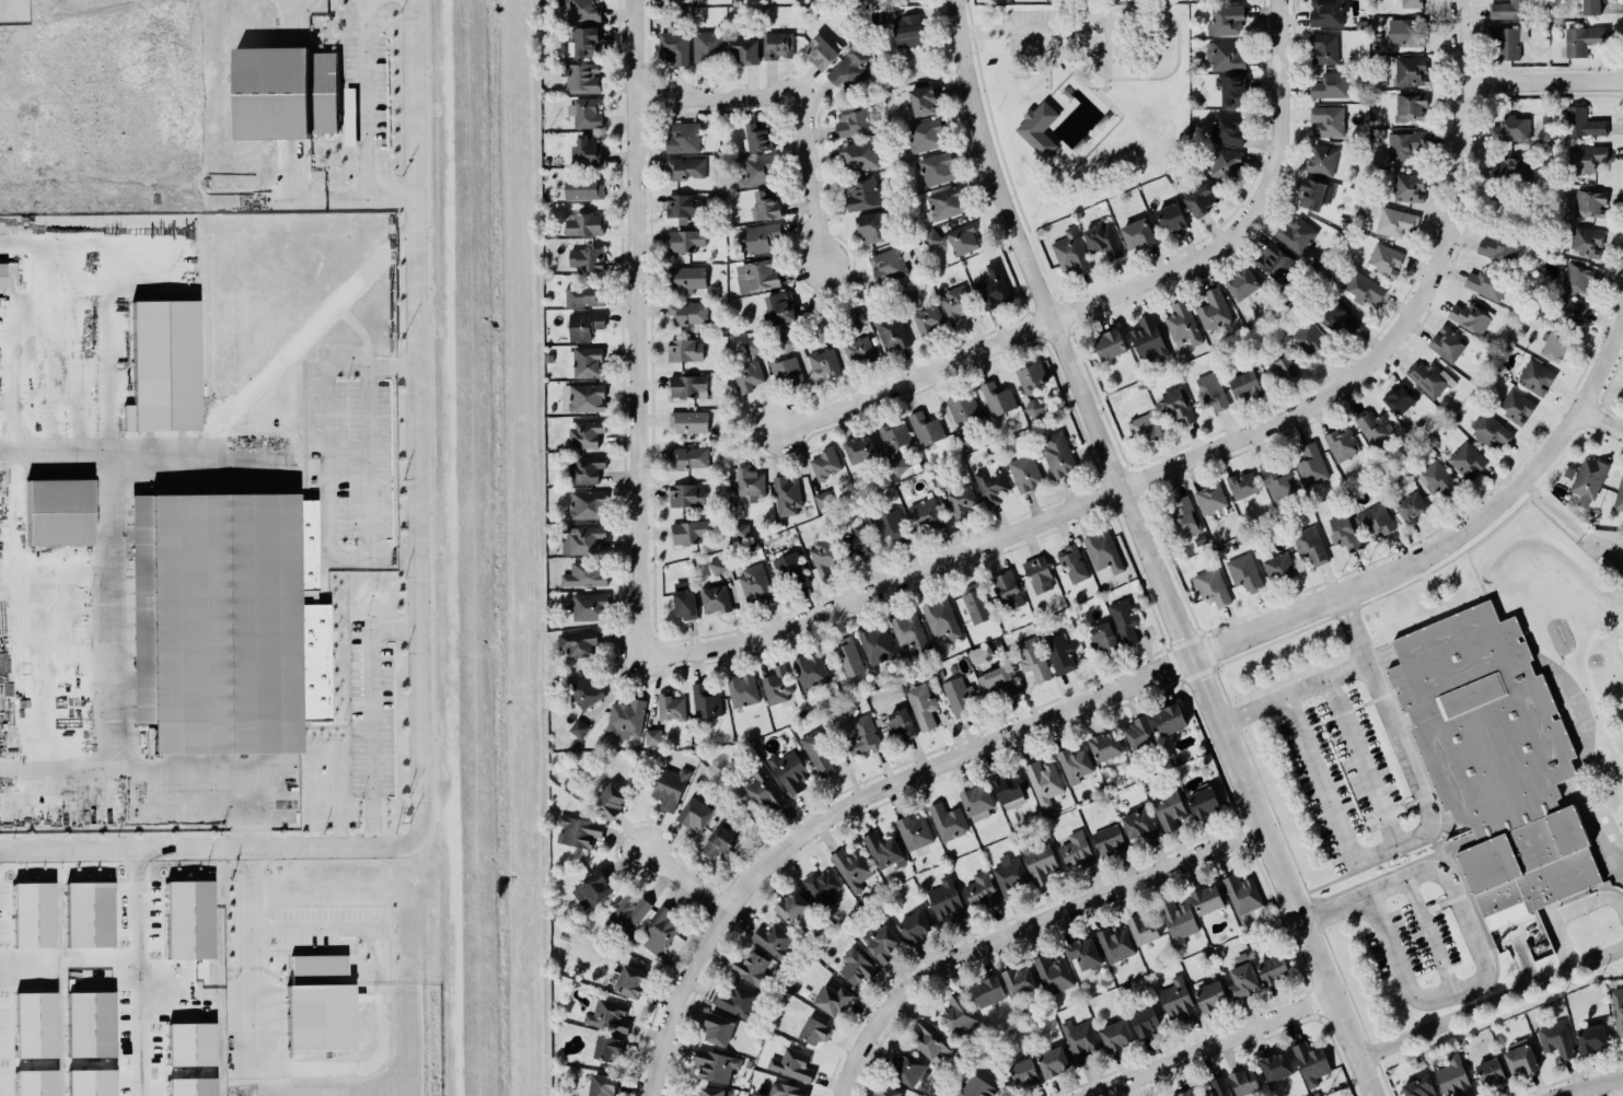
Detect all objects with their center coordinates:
building: (662, 0)
building: (1412, 3)
building: (1592, 7)
building: (582, 10)
building: (1511, 10)
road: (969, 11)
road: (1086, 11)
building: (1326, 12)
building: (1226, 19)
parking lot: (1035, 27)
road: (1007, 28)
building: (907, 30)
road: (973, 30)
building: (1405, 32)
road: (1070, 34)
building: (1583, 40)
building: (1507, 42)
building: (584, 43)
road: (1110, 43)
road: (1176, 43)
building: (673, 46)
building: (777, 46)
building: (707, 47)
building: (1323, 47)
building: (743, 51)
building: (821, 51)
road: (1030, 51)
road: (1054, 51)
building: (1227, 55)
road: (1059, 56)
road: (1050, 58)
road: (1085, 59)
road: (1059, 61)
road: (1058, 62)
road: (1053, 65)
road: (1066, 67)
building: (849, 69)
building: (1411, 71)
road: (1050, 74)
road: (1108, 77)
building: (582, 78)
road: (1078, 79)
road: (1104, 81)
road: (1540, 82)
building: (1331, 84)
road: (1094, 86)
building: (1230, 86)
building: (285, 91)
road: (1036, 97)
park: (1080, 97)
building: (923, 101)
road: (801, 105)
building: (1410, 105)
building: (586, 110)
building: (1328, 120)
building: (854, 121)
building: (1583, 121)
building: (348, 125)
building: (1228, 127)
road: (357, 128)
building: (1037, 128)
building: (1511, 129)
building: (758, 136)
building: (925, 136)
building: (682, 138)
building: (1405, 144)
building: (586, 150)
building: (857, 155)
building: (1586, 158)
building: (1321, 160)
building: (1225, 162)
building: (685, 167)
road: (1006, 167)
building: (757, 170)
building: (936, 170)
building: (1511, 170)
building: (582, 187)
building: (1408, 187)
building: (861, 194)
building: (1312, 194)
road: (305, 200)
building: (1201, 200)
building: (946, 202)
building: (1590, 202)
building: (683, 206)
building: (765, 206)
building: (1171, 218)
building: (581, 222)
building: (1395, 222)
building: (870, 228)
building: (1137, 234)
building: (1297, 234)
building: (760, 236)
building: (953, 238)
building: (1102, 240)
building: (685, 241)
building: (1586, 241)
building: (1498, 247)
building: (1070, 253)
building: (586, 257)
building: (1384, 258)
building: (1275, 263)
building: (888, 264)
building: (756, 275)
building: (2, 276)
building: (686, 277)
building: (1577, 279)
building: (1243, 282)
building: (1487, 283)
building: (993, 288)
building: (1364, 289)
road: (1121, 290)
building: (584, 295)
building: (908, 296)
road: (1055, 296)
building: (955, 303)
building: (778, 310)
building: (1214, 311)
building: (1568, 311)
building: (689, 314)
building: (1469, 316)
building: (855, 318)
building: (1337, 318)
building: (927, 319)
building: (583, 324)
building: (1182, 324)
road: (644, 326)
building: (892, 331)
building: (819, 333)
building: (1148, 338)
building: (1311, 339)
building: (788, 342)
building: (1110, 345)
building: (1447, 345)
building: (1554, 346)
building: (752, 347)
building: (684, 349)
building: (859, 350)
building: (581, 362)
building: (824, 362)
building: (1283, 365)
building: (163, 368)
road: (267, 372)
building: (786, 372)
building: (747, 375)
building: (1535, 375)
building: (1031, 377)
building: (1427, 377)
building: (687, 385)
building: (1245, 386)
building: (1212, 392)
building: (583, 398)
building: (1399, 398)
building: (997, 399)
building: (1178, 405)
building: (1517, 406)
building: (963, 408)
building: (1032, 408)
road: (1603, 418)
building: (687, 420)
building: (1144, 427)
building: (1372, 427)
building: (925, 428)
building: (1489, 430)
building: (583, 433)
building: (893, 434)
building: (1341, 443)
building: (859, 448)
building: (1057, 454)
road: (1197, 454)
building: (688, 457)
building: (1464, 458)
road: (368, 459)
building: (825, 463)
building: (1311, 464)
building: (896, 465)
building: (584, 468)
building: (1024, 468)
building: (1275, 478)
building: (1437, 479)
building: (1588, 480)
building: (751, 483)
building: (1241, 483)
building: (990, 485)
building: (685, 494)
building: (786, 495)
building: (1619, 497)
building: (822, 498)
building: (1209, 499)
building: (961, 501)
building: (587, 504)
building: (1411, 505)
building: (58, 513)
building: (926, 513)
building: (1184, 516)
building: (1375, 520)
road: (1565, 520)
building: (892, 527)
building: (687, 532)
building: (740, 532)
building: (1344, 533)
building: (581, 539)
building: (859, 540)
building: (1310, 546)
building: (1102, 551)
road: (1152, 552)
building: (823, 555)
road: (109, 558)
building: (1073, 564)
building: (717, 566)
building: (1278, 567)
building: (791, 571)
building: (1244, 572)
building: (1037, 574)
building: (584, 575)
building: (754, 580)
building: (1212, 587)
building: (1008, 590)
building: (714, 599)
building: (685, 603)
building: (975, 603)
building: (587, 606)
building: (228, 614)
building: (940, 617)
building: (1123, 622)
road: (417, 628)
building: (909, 636)
building: (1100, 640)
building: (577, 642)
building: (876, 644)
road: (1205, 653)
building: (847, 655)
building: (1059, 655)
building: (1032, 662)
building: (810, 669)
road: (1323, 680)
building: (1000, 683)
building: (777, 684)
building: (742, 690)
building: (586, 691)
building: (958, 696)
building: (705, 700)
building: (921, 704)
building: (671, 706)
road: (1289, 706)
road: (1253, 709)
road: (370, 715)
building: (625, 718)
building: (1169, 719)
building: (901, 724)
building: (578, 728)
building: (1140, 732)
building: (652, 736)
building: (863, 736)
building: (1105, 745)
building: (816, 754)
road: (1360, 760)
building: (1496, 760)
building: (1074, 763)
road: (162, 767)
building: (788, 771)
building: (1044, 783)
building: (669, 785)
building: (764, 792)
building: (1009, 792)
building: (608, 801)
building: (976, 802)
building: (1204, 802)
building: (1167, 804)
building: (695, 813)
road: (1427, 819)
building: (947, 820)
building: (1139, 823)
building: (578, 831)
building: (914, 832)
building: (1109, 841)
building: (718, 844)
building: (882, 850)
building: (1077, 850)
building: (1039, 860)
building: (851, 866)
road: (677, 874)
building: (1009, 875)
building: (822, 887)
building: (592, 889)
building: (982, 890)
building: (1242, 893)
building: (947, 897)
building: (1207, 899)
building: (792, 907)
road: (1567, 910)
building: (628, 912)
building: (88, 914)
building: (33, 916)
building: (189, 919)
building: (1178, 922)
building: (915, 928)
road: (1025, 928)
building: (1143, 929)
building: (660, 930)
building: (774, 940)
building: (881, 943)
building: (1114, 943)
road: (1472, 943)
building: (1083, 954)
road: (695, 956)
road: (1597, 956)
road: (1520, 960)
building: (857, 967)
building: (751, 968)
building: (1271, 970)
road: (139, 972)
building: (1053, 973)
building: (1019, 979)
building: (630, 981)
building: (1240, 982)
building: (988, 991)
building: (1209, 998)
building: (833, 1000)
building: (738, 1001)
building: (1178, 1001)
building: (318, 1004)
building: (1616, 1010)
road: (1467, 1011)
building: (958, 1014)
building: (607, 1015)
building: (1144, 1023)
building: (34, 1025)
building: (90, 1025)
building: (718, 1029)
building: (813, 1033)
building: (1590, 1036)
building: (1554, 1037)
building: (1113, 1038)
building: (931, 1040)
building: (1079, 1042)
road: (1215, 1043)
building: (190, 1045)
building: (607, 1048)
road: (658, 1051)
building: (1519, 1058)
building: (1311, 1061)
building: (716, 1064)
building: (1051, 1064)
building: (792, 1066)
building: (1276, 1066)
building: (906, 1068)
road: (333, 1069)
building: (1489, 1070)
building: (1023, 1074)
building: (1453, 1078)
building: (1244, 1082)
building: (35, 1083)
building: (90, 1083)
building: (601, 1083)
road: (1589, 1083)
building: (190, 1087)
building: (1217, 1087)
building: (1418, 1087)
building: (972, 1088)
building: (786, 1091)
building: (712, 1092)
building: (885, 1092)
building: (1186, 1092)

